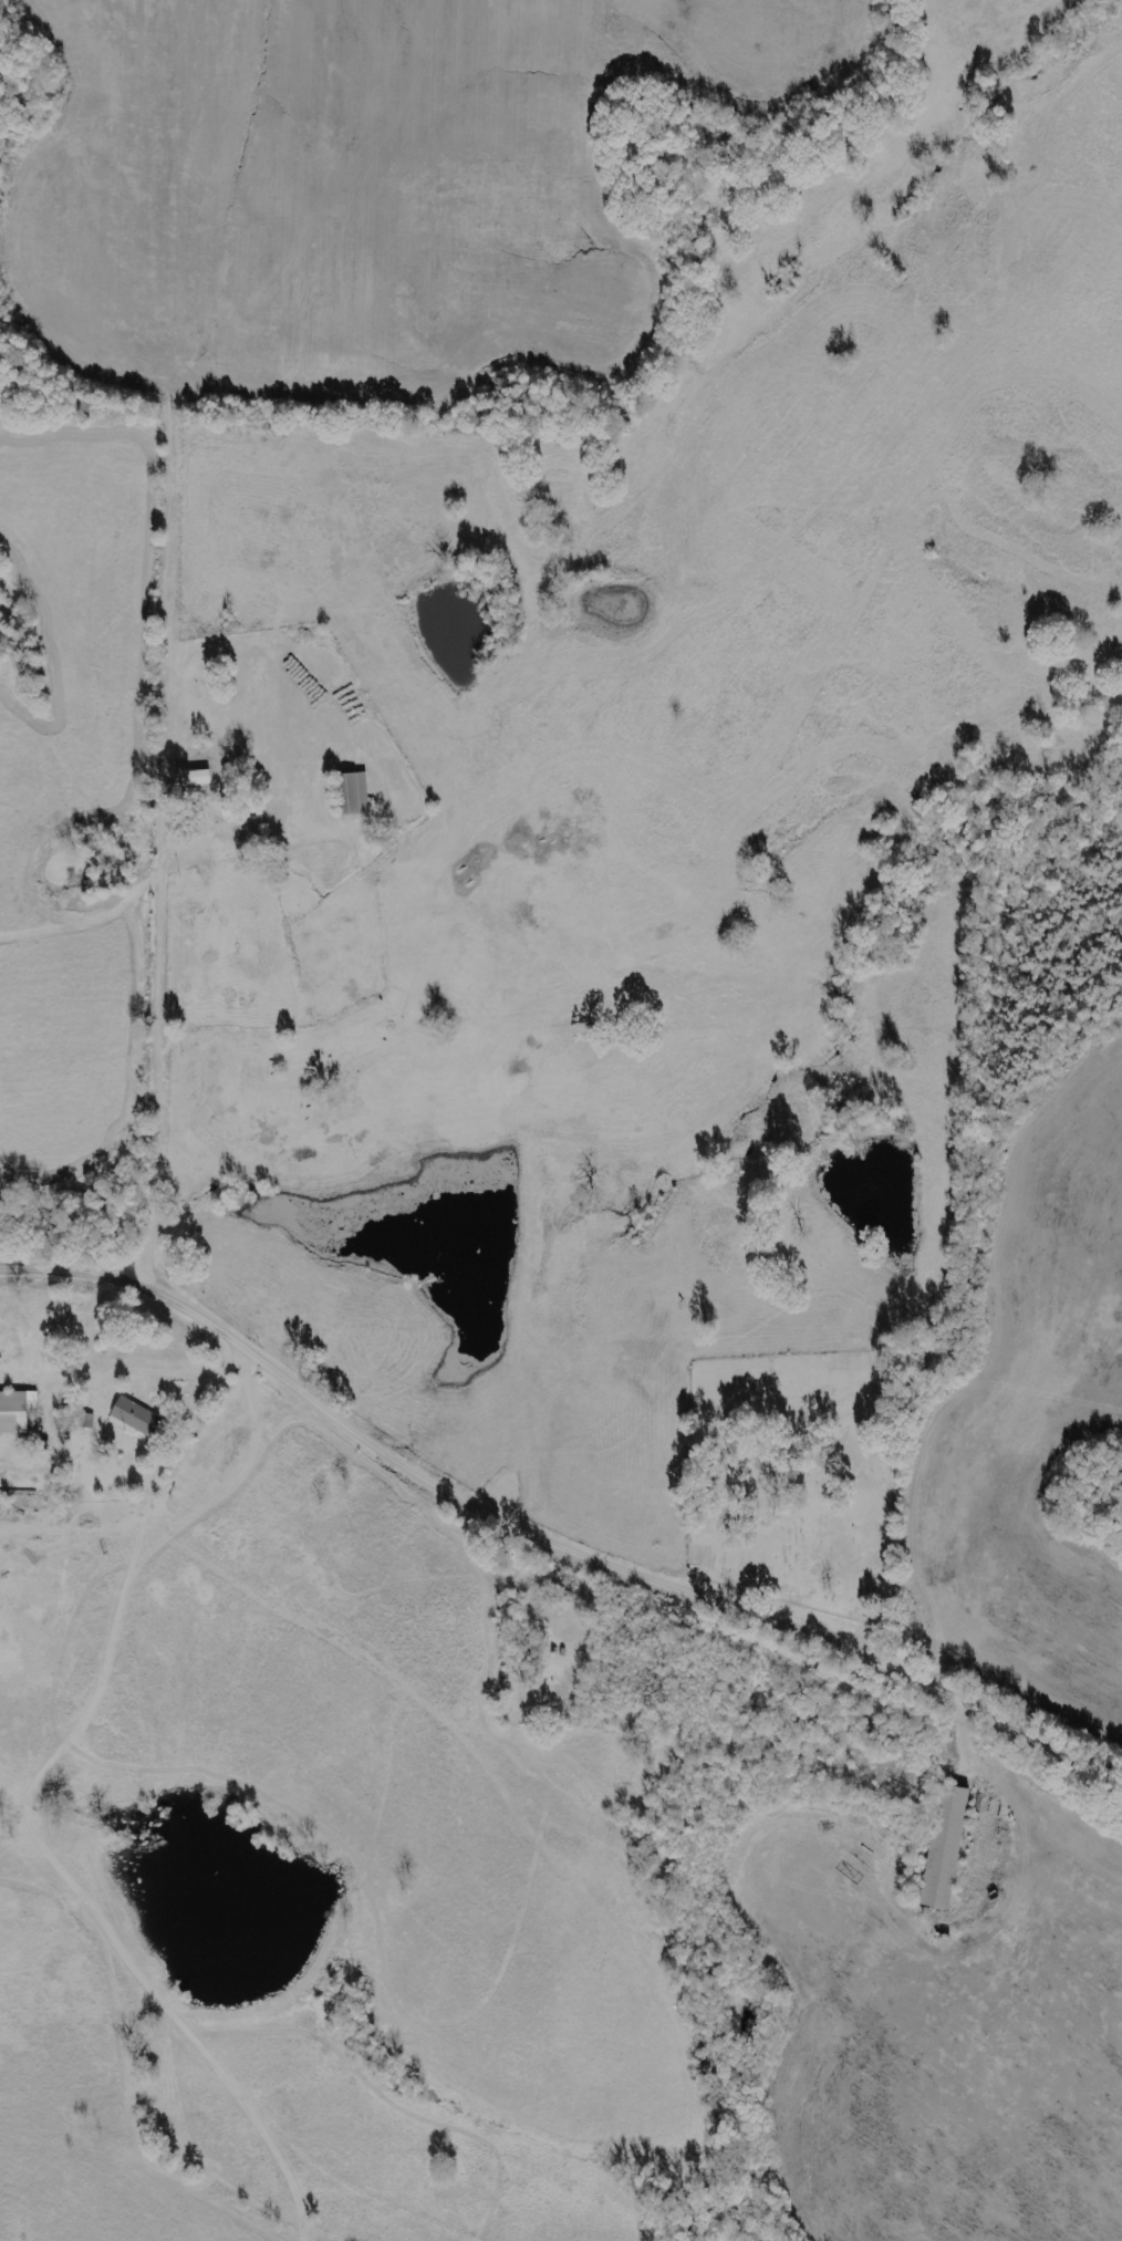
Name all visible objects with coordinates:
road: (173, 442)
building: (354, 793)
road: (155, 1034)
road: (168, 1369)
building: (18, 1410)
building: (138, 1415)
park: (790, 1482)
road: (553, 1519)

